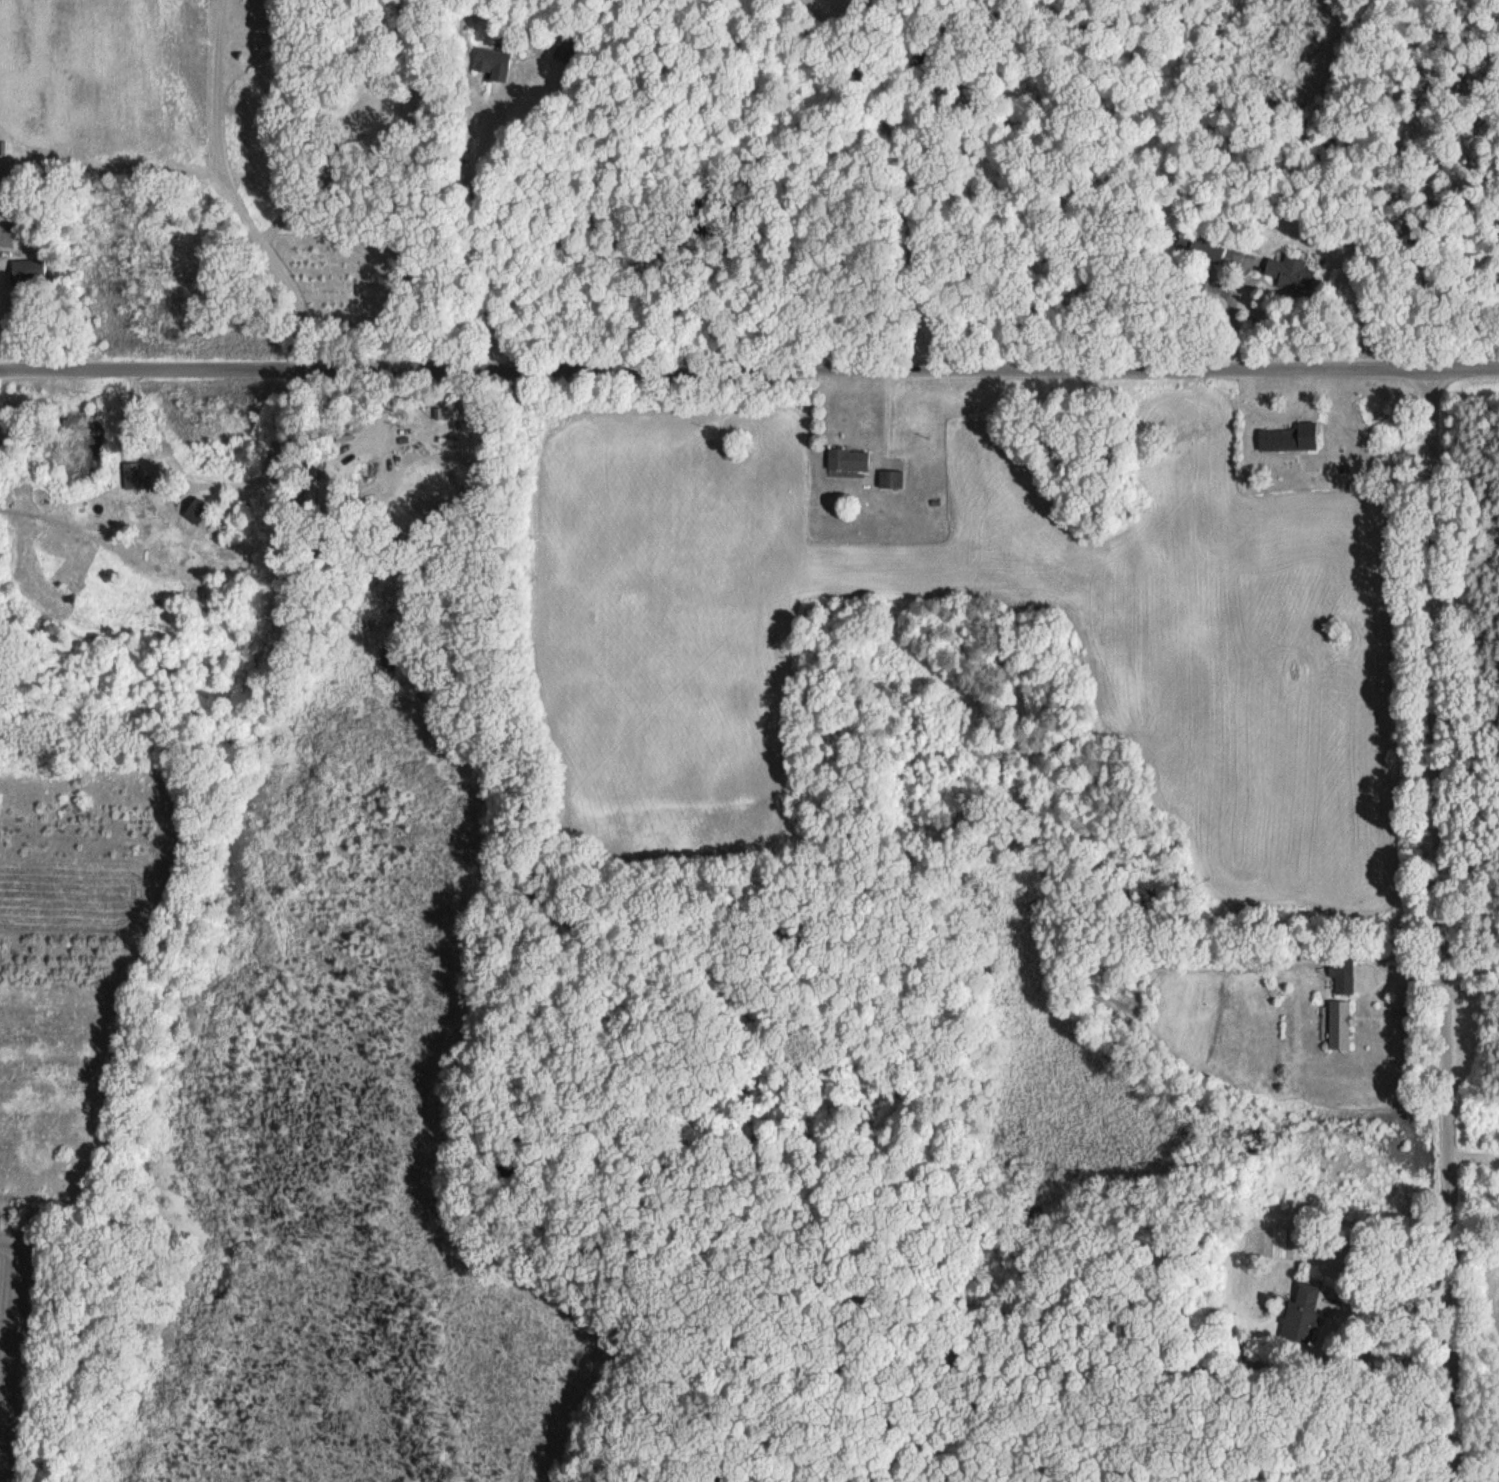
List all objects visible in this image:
road: (220, 20)
road: (246, 23)
building: (491, 63)
road: (109, 157)
road: (903, 171)
road: (239, 210)
road: (467, 233)
building: (1206, 249)
building: (29, 272)
building: (1289, 273)
road: (749, 368)
road: (380, 416)
building: (1288, 437)
building: (847, 460)
road: (211, 479)
building: (890, 479)
road: (1445, 925)
building: (1341, 974)
road: (1473, 982)
building: (1338, 1024)
road: (1475, 1154)
road: (1396, 1255)
building: (1300, 1314)

